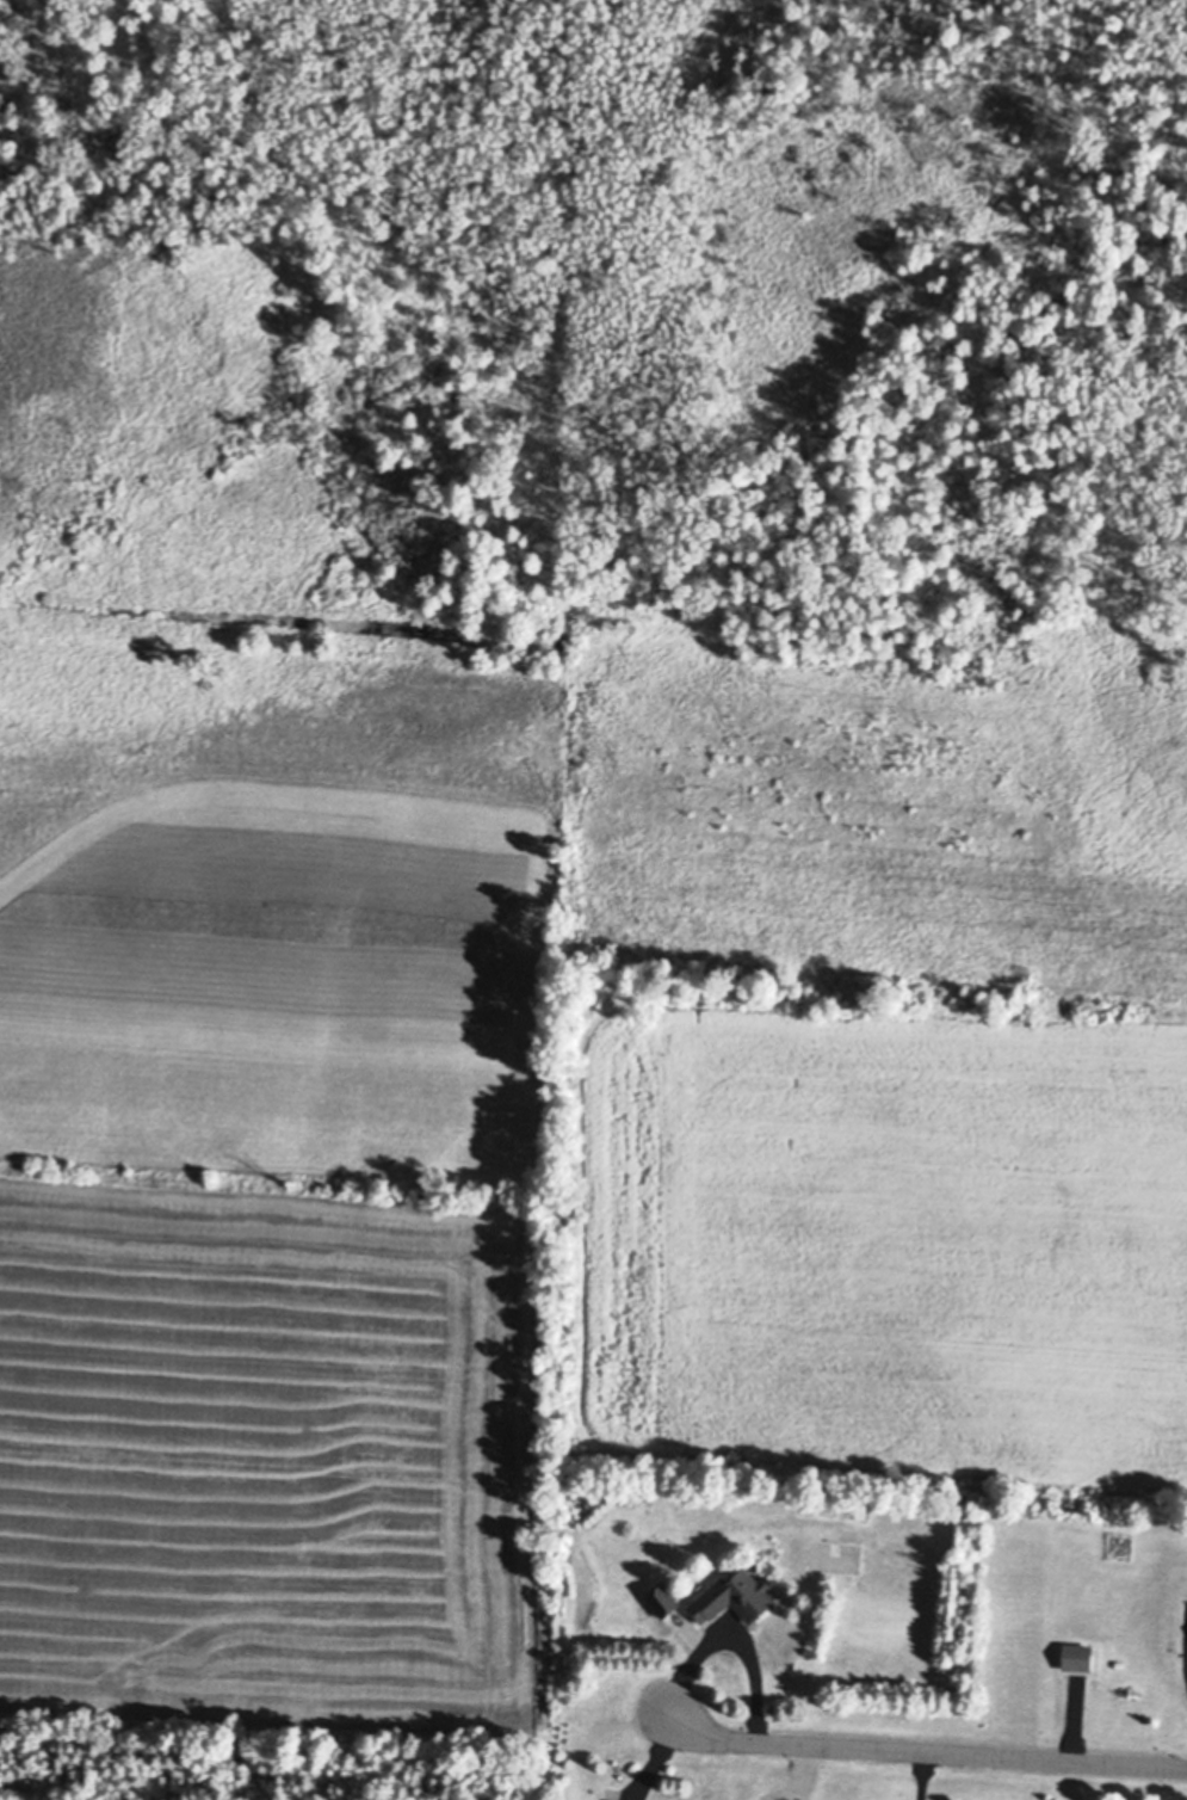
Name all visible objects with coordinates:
crop: (276, 1176)
building: (732, 1591)
building: (662, 1596)
road: (1024, 1633)
building: (1075, 1653)
road: (928, 1753)

